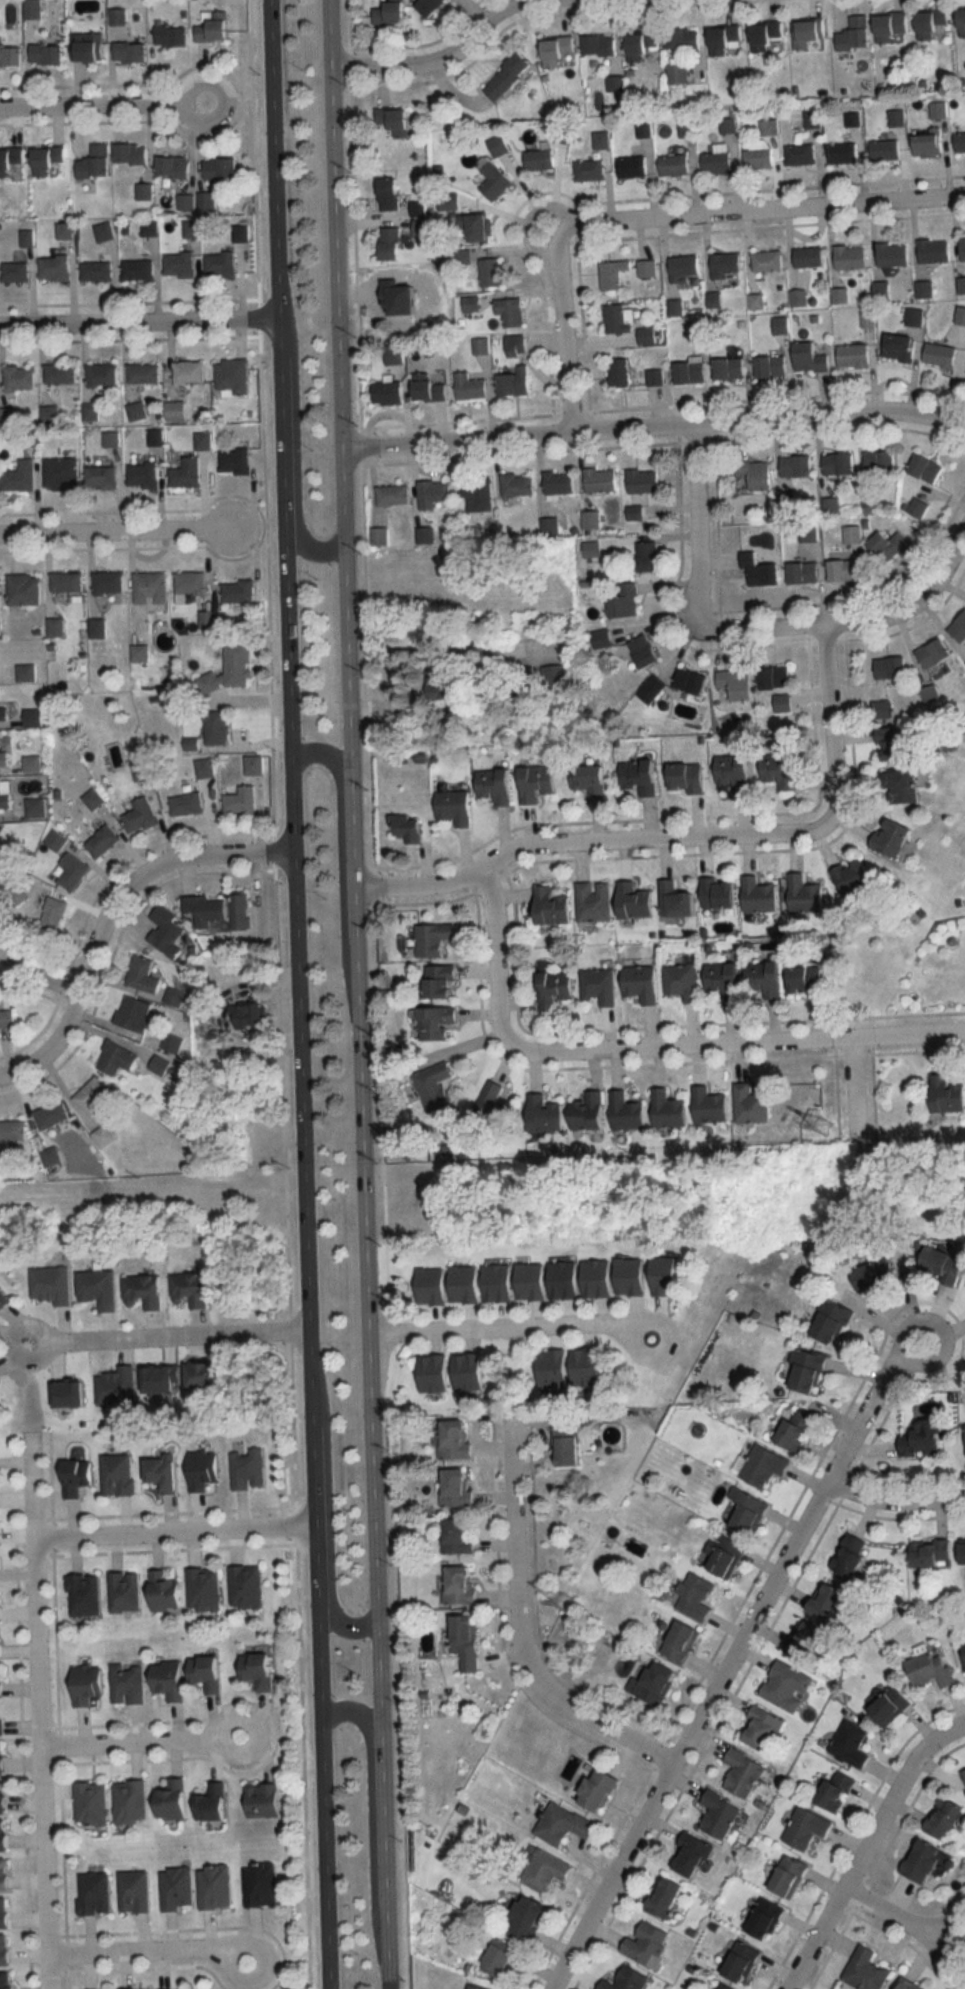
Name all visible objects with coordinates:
building: (430, 5)
building: (392, 12)
building: (211, 22)
building: (960, 22)
building: (927, 23)
building: (886, 26)
building: (169, 32)
building: (768, 33)
building: (809, 34)
building: (852, 34)
building: (683, 39)
building: (723, 39)
building: (644, 43)
building: (600, 45)
building: (87, 47)
building: (130, 51)
building: (559, 52)
building: (11, 54)
building: (47, 54)
road: (445, 56)
building: (678, 74)
building: (508, 76)
road: (227, 94)
road: (93, 102)
building: (894, 118)
building: (396, 120)
building: (728, 125)
building: (769, 127)
building: (958, 143)
building: (924, 145)
building: (499, 146)
building: (884, 150)
building: (132, 153)
building: (843, 153)
building: (800, 154)
building: (758, 158)
building: (10, 159)
building: (48, 159)
building: (718, 159)
building: (540, 160)
building: (95, 162)
building: (675, 165)
building: (174, 166)
building: (633, 166)
building: (221, 168)
building: (589, 170)
building: (496, 181)
building: (145, 191)
building: (390, 193)
building: (207, 199)
building: (421, 208)
road: (773, 208)
road: (330, 224)
building: (422, 227)
building: (477, 227)
building: (150, 228)
building: (192, 228)
building: (65, 230)
building: (105, 231)
building: (392, 243)
building: (963, 248)
building: (934, 251)
building: (893, 254)
building: (464, 256)
building: (810, 257)
building: (851, 257)
building: (768, 261)
building: (221, 264)
road: (274, 264)
building: (180, 265)
building: (727, 265)
building: (55, 268)
building: (648, 268)
building: (686, 268)
building: (138, 269)
building: (97, 271)
building: (16, 272)
building: (492, 272)
building: (614, 274)
building: (840, 295)
building: (471, 304)
building: (511, 311)
building: (960, 315)
building: (915, 317)
building: (620, 318)
building: (868, 319)
road: (562, 322)
road: (138, 323)
building: (782, 325)
building: (648, 335)
building: (481, 345)
building: (515, 345)
building: (900, 347)
building: (854, 355)
building: (941, 355)
building: (811, 358)
building: (395, 359)
building: (772, 367)
building: (730, 368)
building: (189, 372)
building: (691, 372)
building: (144, 373)
building: (620, 373)
building: (61, 374)
building: (102, 375)
building: (233, 376)
building: (20, 379)
building: (517, 382)
building: (430, 388)
building: (471, 388)
building: (389, 392)
building: (176, 410)
building: (91, 411)
building: (137, 411)
building: (8, 417)
road: (652, 426)
building: (156, 437)
building: (111, 438)
road: (294, 449)
building: (236, 461)
building: (881, 461)
building: (840, 464)
building: (798, 466)
building: (927, 468)
building: (62, 473)
building: (144, 473)
building: (187, 473)
building: (757, 473)
building: (22, 476)
building: (102, 477)
building: (602, 480)
building: (643, 481)
building: (560, 482)
building: (518, 484)
building: (434, 493)
building: (478, 494)
building: (394, 495)
building: (870, 498)
building: (832, 505)
building: (918, 507)
building: (635, 513)
building: (592, 520)
building: (550, 526)
road: (115, 529)
road: (693, 532)
building: (426, 534)
building: (853, 535)
building: (380, 536)
building: (889, 545)
building: (592, 549)
building: (648, 557)
building: (845, 571)
building: (760, 572)
building: (804, 573)
building: (67, 582)
building: (192, 582)
building: (110, 587)
building: (151, 588)
building: (25, 589)
building: (239, 591)
building: (625, 602)
road: (864, 618)
building: (56, 627)
building: (98, 628)
building: (960, 629)
building: (602, 639)
road: (284, 647)
building: (645, 651)
building: (140, 653)
building: (935, 654)
building: (892, 668)
building: (233, 669)
road: (345, 669)
building: (27, 672)
building: (558, 677)
building: (775, 678)
building: (691, 681)
building: (737, 684)
building: (443, 685)
building: (653, 689)
building: (784, 703)
building: (4, 713)
building: (34, 717)
building: (218, 727)
road: (828, 733)
building: (895, 743)
building: (5, 758)
building: (33, 763)
building: (256, 764)
building: (206, 767)
building: (783, 769)
building: (736, 773)
building: (642, 776)
building: (689, 778)
building: (593, 780)
building: (538, 783)
building: (497, 785)
building: (901, 785)
building: (6, 793)
building: (94, 799)
building: (242, 800)
building: (188, 804)
building: (456, 807)
building: (37, 808)
building: (142, 816)
building: (407, 828)
building: (893, 840)
building: (104, 841)
road: (575, 844)
road: (340, 862)
building: (4, 865)
building: (74, 872)
building: (854, 878)
building: (721, 894)
building: (806, 895)
building: (761, 896)
building: (595, 901)
building: (636, 901)
building: (677, 901)
building: (553, 906)
building: (206, 910)
road: (106, 912)
building: (242, 912)
building: (54, 914)
building: (168, 932)
building: (434, 939)
road: (355, 955)
building: (144, 975)
road: (38, 976)
building: (768, 978)
building: (726, 980)
building: (809, 980)
building: (683, 981)
building: (441, 982)
building: (643, 984)
building: (600, 986)
building: (557, 988)
road: (376, 994)
building: (135, 1013)
building: (251, 1017)
building: (8, 1020)
building: (437, 1023)
road: (647, 1049)
building: (117, 1058)
building: (436, 1086)
road: (851, 1088)
building: (943, 1094)
building: (91, 1097)
building: (753, 1102)
building: (710, 1106)
building: (670, 1110)
building: (591, 1112)
building: (628, 1113)
building: (545, 1114)
building: (52, 1115)
power tower: (824, 1123)
building: (11, 1132)
building: (103, 1136)
building: (51, 1156)
building: (3, 1160)
building: (937, 1264)
building: (660, 1275)
building: (870, 1275)
building: (626, 1277)
building: (592, 1278)
building: (527, 1282)
building: (51, 1284)
building: (427, 1286)
building: (98, 1287)
building: (191, 1288)
building: (144, 1290)
building: (3, 1299)
building: (828, 1323)
road: (499, 1326)
road: (633, 1332)
road: (166, 1337)
building: (582, 1367)
building: (549, 1371)
building: (802, 1371)
building: (464, 1372)
building: (210, 1374)
building: (429, 1374)
road: (306, 1377)
building: (117, 1386)
building: (791, 1430)
building: (918, 1439)
building: (964, 1439)
building: (451, 1441)
building: (563, 1447)
building: (761, 1467)
building: (204, 1469)
building: (250, 1469)
building: (166, 1472)
building: (119, 1474)
building: (79, 1476)
building: (453, 1487)
road: (895, 1499)
road: (370, 1504)
road: (327, 1509)
building: (743, 1513)
road: (174, 1531)
building: (454, 1537)
building: (960, 1552)
building: (927, 1553)
building: (846, 1556)
building: (722, 1557)
building: (455, 1585)
building: (246, 1586)
building: (205, 1589)
road: (36, 1590)
building: (125, 1591)
building: (166, 1591)
building: (85, 1594)
building: (689, 1597)
building: (821, 1601)
power tower: (566, 1603)
building: (0, 1609)
road: (513, 1630)
building: (462, 1642)
building: (676, 1643)
building: (804, 1643)
building: (0, 1644)
road: (727, 1657)
building: (962, 1658)
building: (926, 1669)
building: (260, 1670)
building: (208, 1673)
building: (172, 1680)
building: (1, 1683)
building: (128, 1683)
building: (89, 1684)
building: (649, 1684)
building: (783, 1686)
building: (885, 1707)
building: (2, 1725)
building: (757, 1728)
road: (223, 1731)
road: (132, 1741)
building: (847, 1744)
building: (2, 1758)
building: (739, 1773)
building: (964, 1777)
building: (593, 1791)
building: (831, 1791)
building: (2, 1797)
building: (173, 1799)
building: (264, 1799)
building: (130, 1801)
building: (214, 1802)
building: (91, 1803)
road: (369, 1814)
building: (716, 1815)
building: (939, 1819)
building: (560, 1825)
building: (802, 1829)
building: (3, 1835)
road: (863, 1845)
building: (687, 1856)
building: (917, 1862)
road: (45, 1866)
building: (541, 1871)
building: (4, 1874)
building: (784, 1878)
building: (261, 1884)
building: (216, 1886)
building: (177, 1888)
building: (135, 1891)
building: (95, 1893)
building: (660, 1898)
building: (3, 1912)
road: (896, 1915)
building: (521, 1918)
building: (761, 1921)
building: (642, 1944)
road: (140, 1949)
building: (4, 1950)
road: (231, 1957)
building: (737, 1963)
building: (861, 1970)
building: (6, 1980)
building: (623, 1980)
building: (903, 1985)
building: (470, 1987)
building: (718, 1987)
building: (149, 1988)

